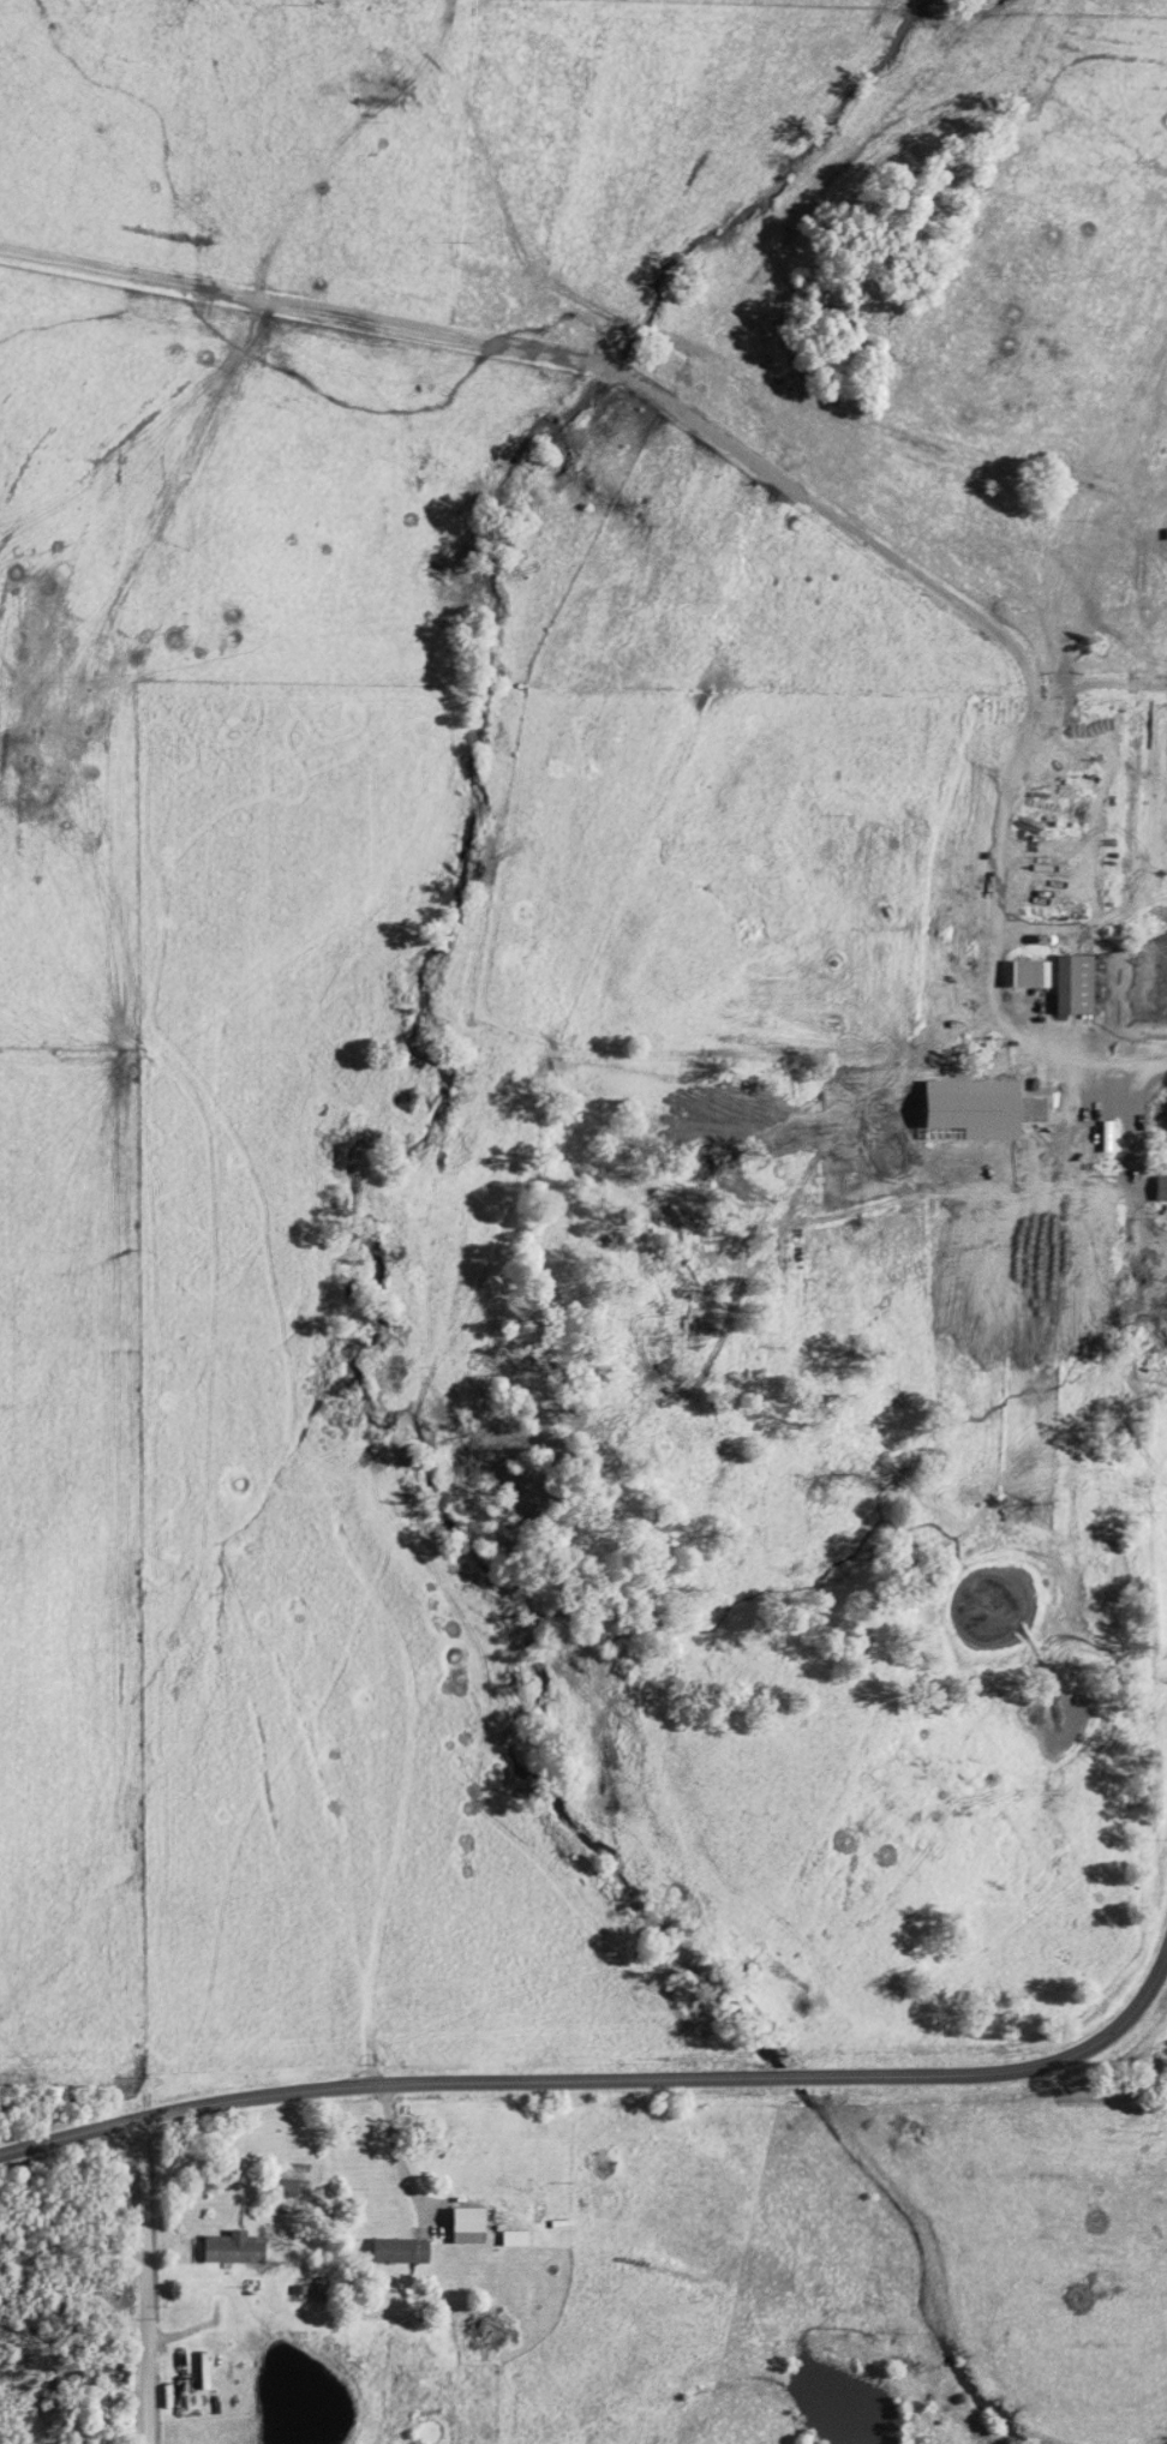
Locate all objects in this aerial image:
road: (994, 714)
building: (1031, 976)
building: (1076, 987)
crop: (585, 1038)
building: (972, 1112)
building: (1162, 1191)
road: (608, 2075)
road: (399, 2160)
building: (286, 2188)
building: (467, 2228)
building: (514, 2240)
building: (234, 2250)
building: (400, 2253)
road: (150, 2281)
building: (490, 2332)

